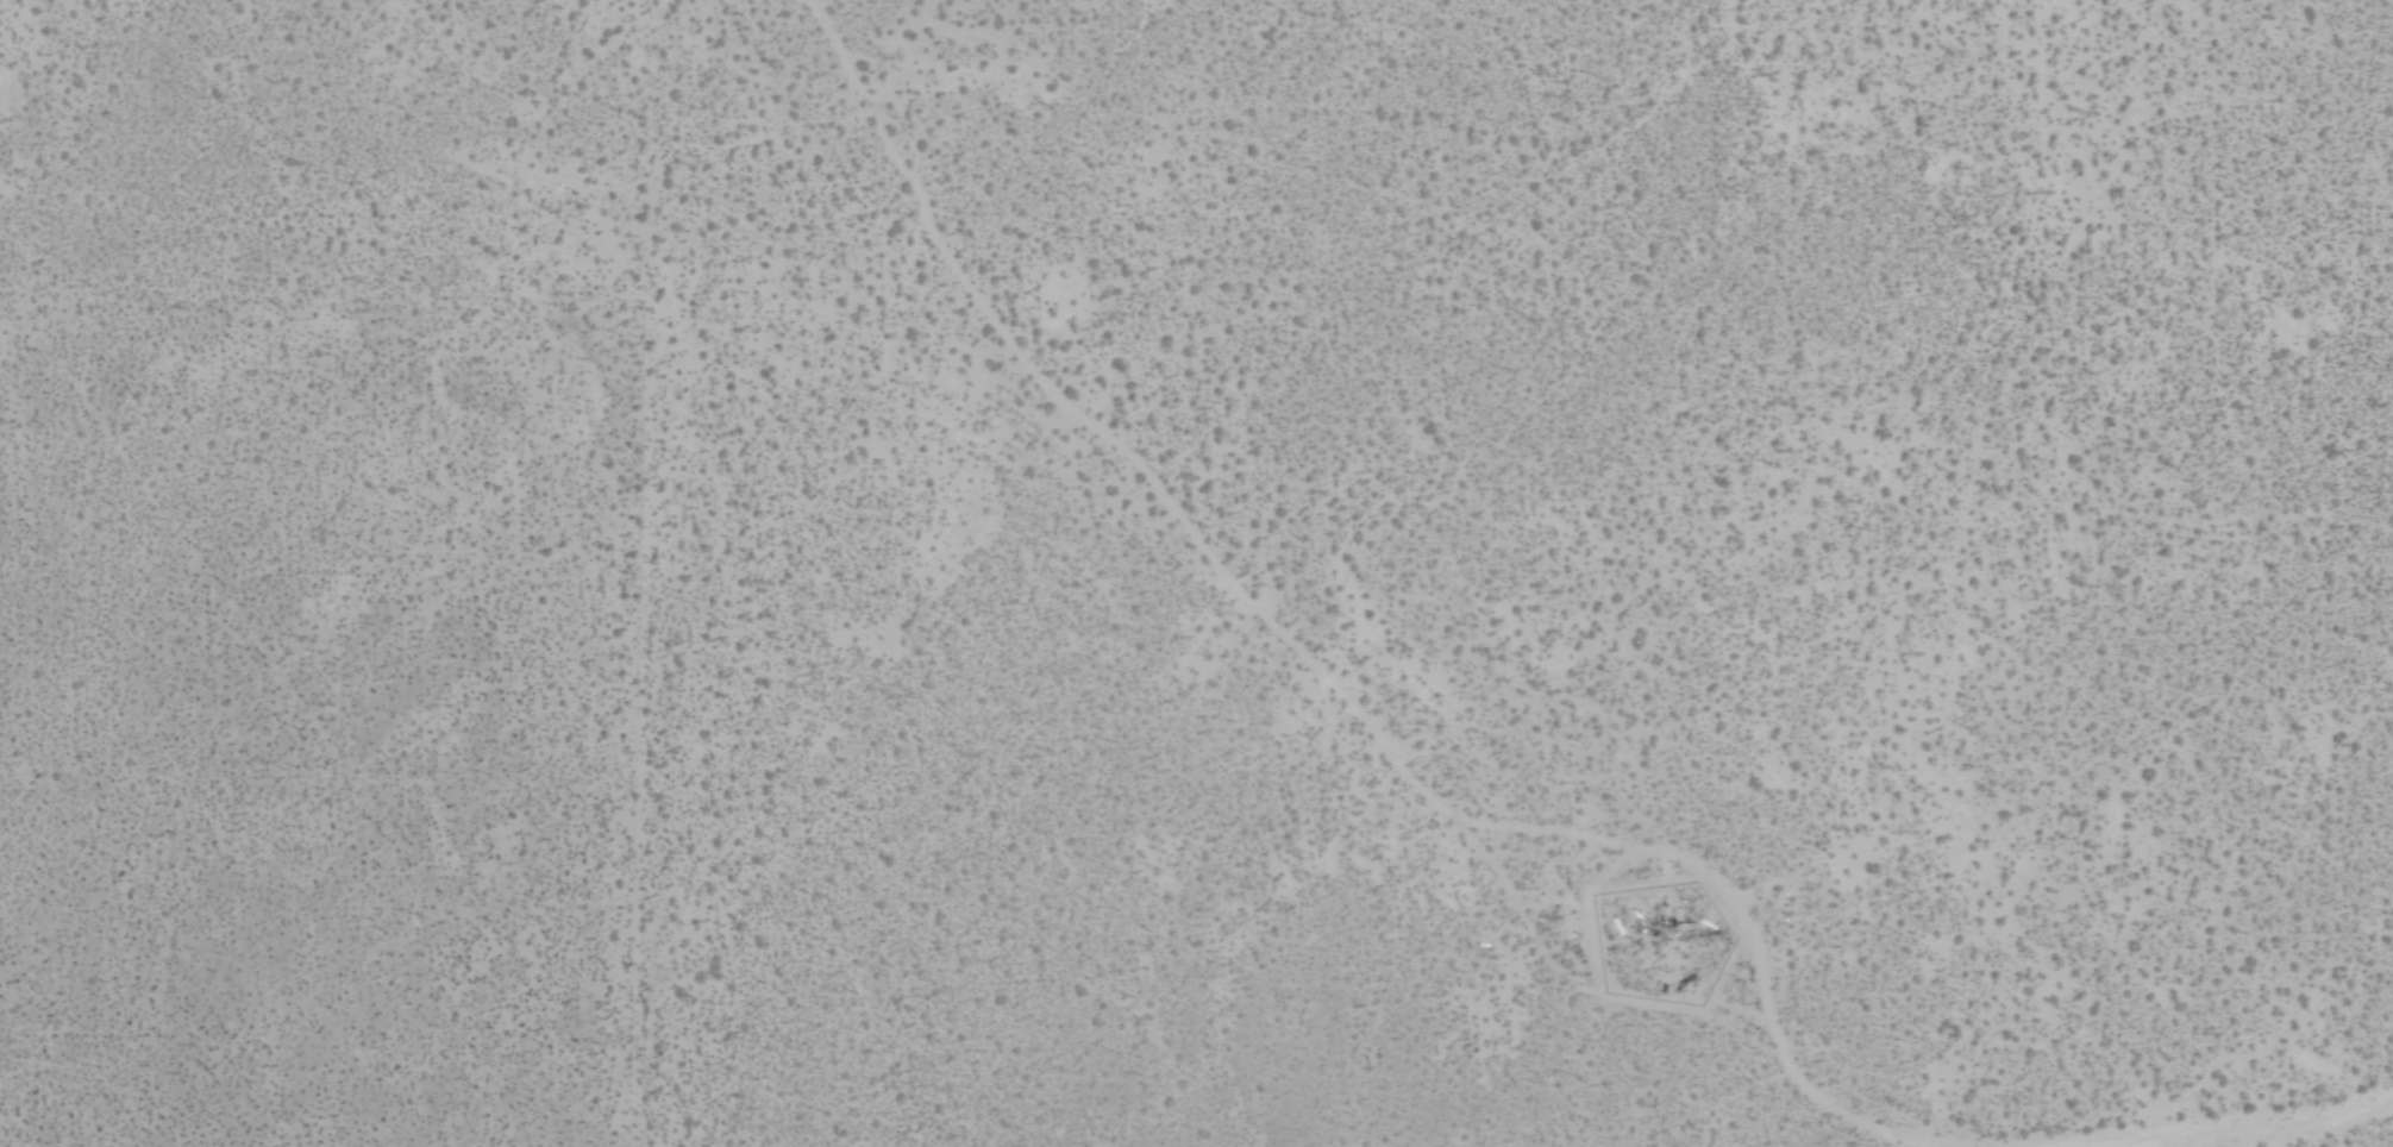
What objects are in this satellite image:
airport: (1196, 573)

